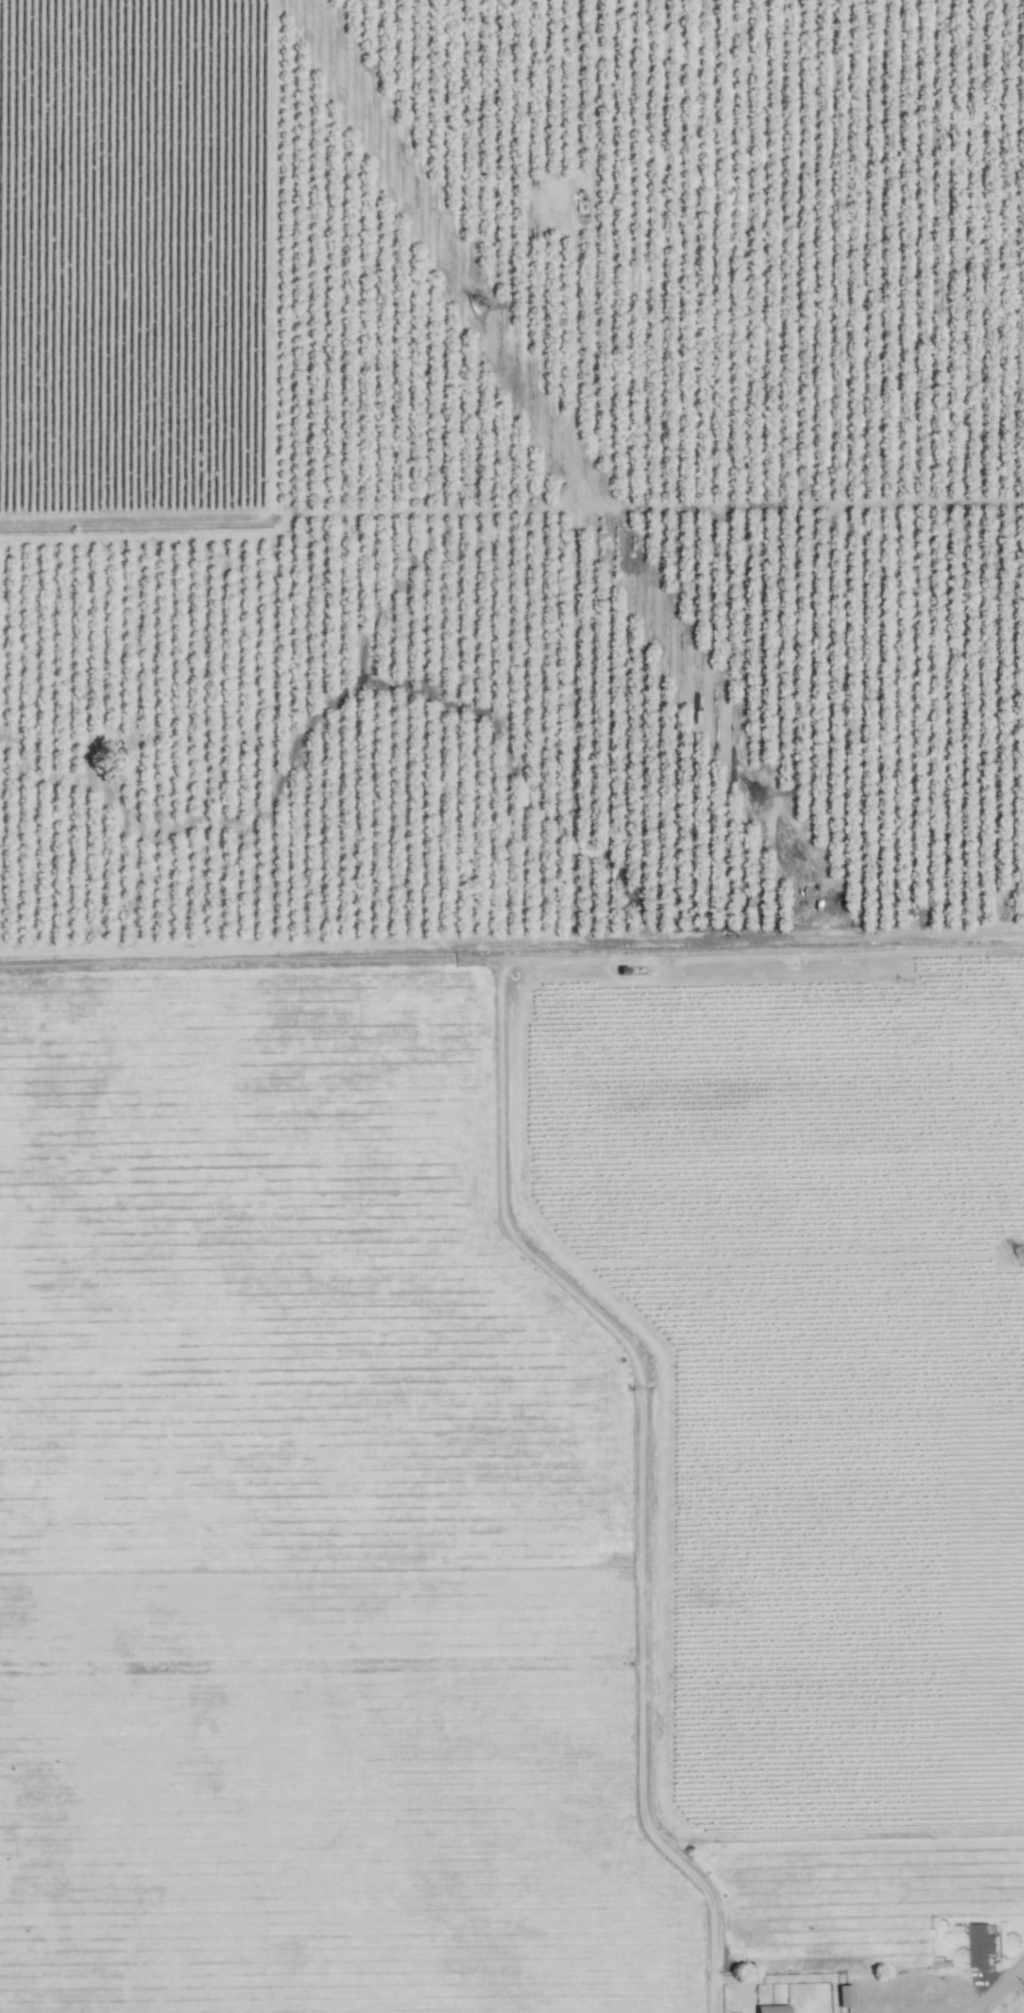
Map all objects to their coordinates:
road: (586, 300)
power tower: (486, 308)
road: (807, 504)
power tower: (764, 792)
road: (966, 932)
building: (983, 1946)
road: (998, 1986)
building: (846, 1995)
road: (928, 2007)
building: (774, 2008)

